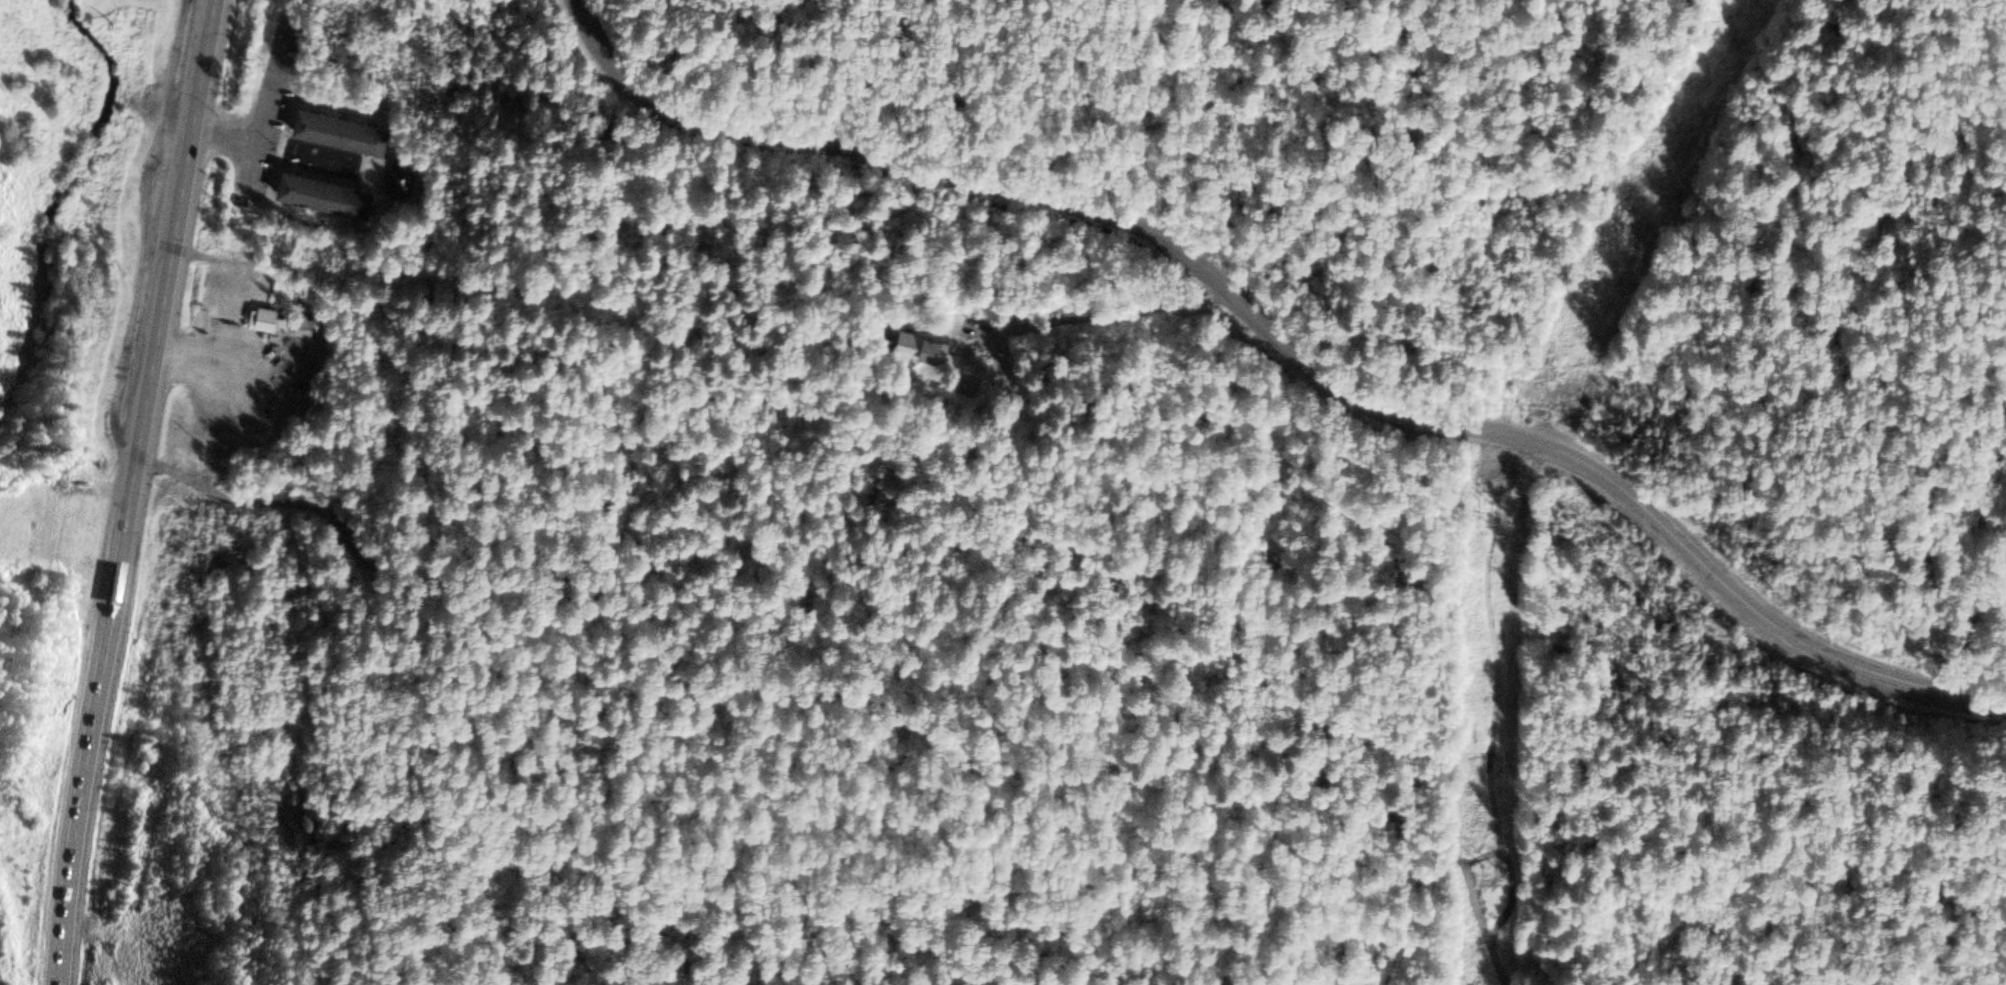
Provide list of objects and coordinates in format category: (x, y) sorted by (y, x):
building: (344, 132)
building: (401, 182)
river: (55, 196)
building: (327, 196)
power tower: (1636, 234)
building: (266, 322)
road: (131, 324)
building: (306, 330)
road: (1285, 346)
building: (938, 352)
road: (131, 491)
power tower: (1497, 501)
road: (942, 737)
power tower: (1492, 867)

